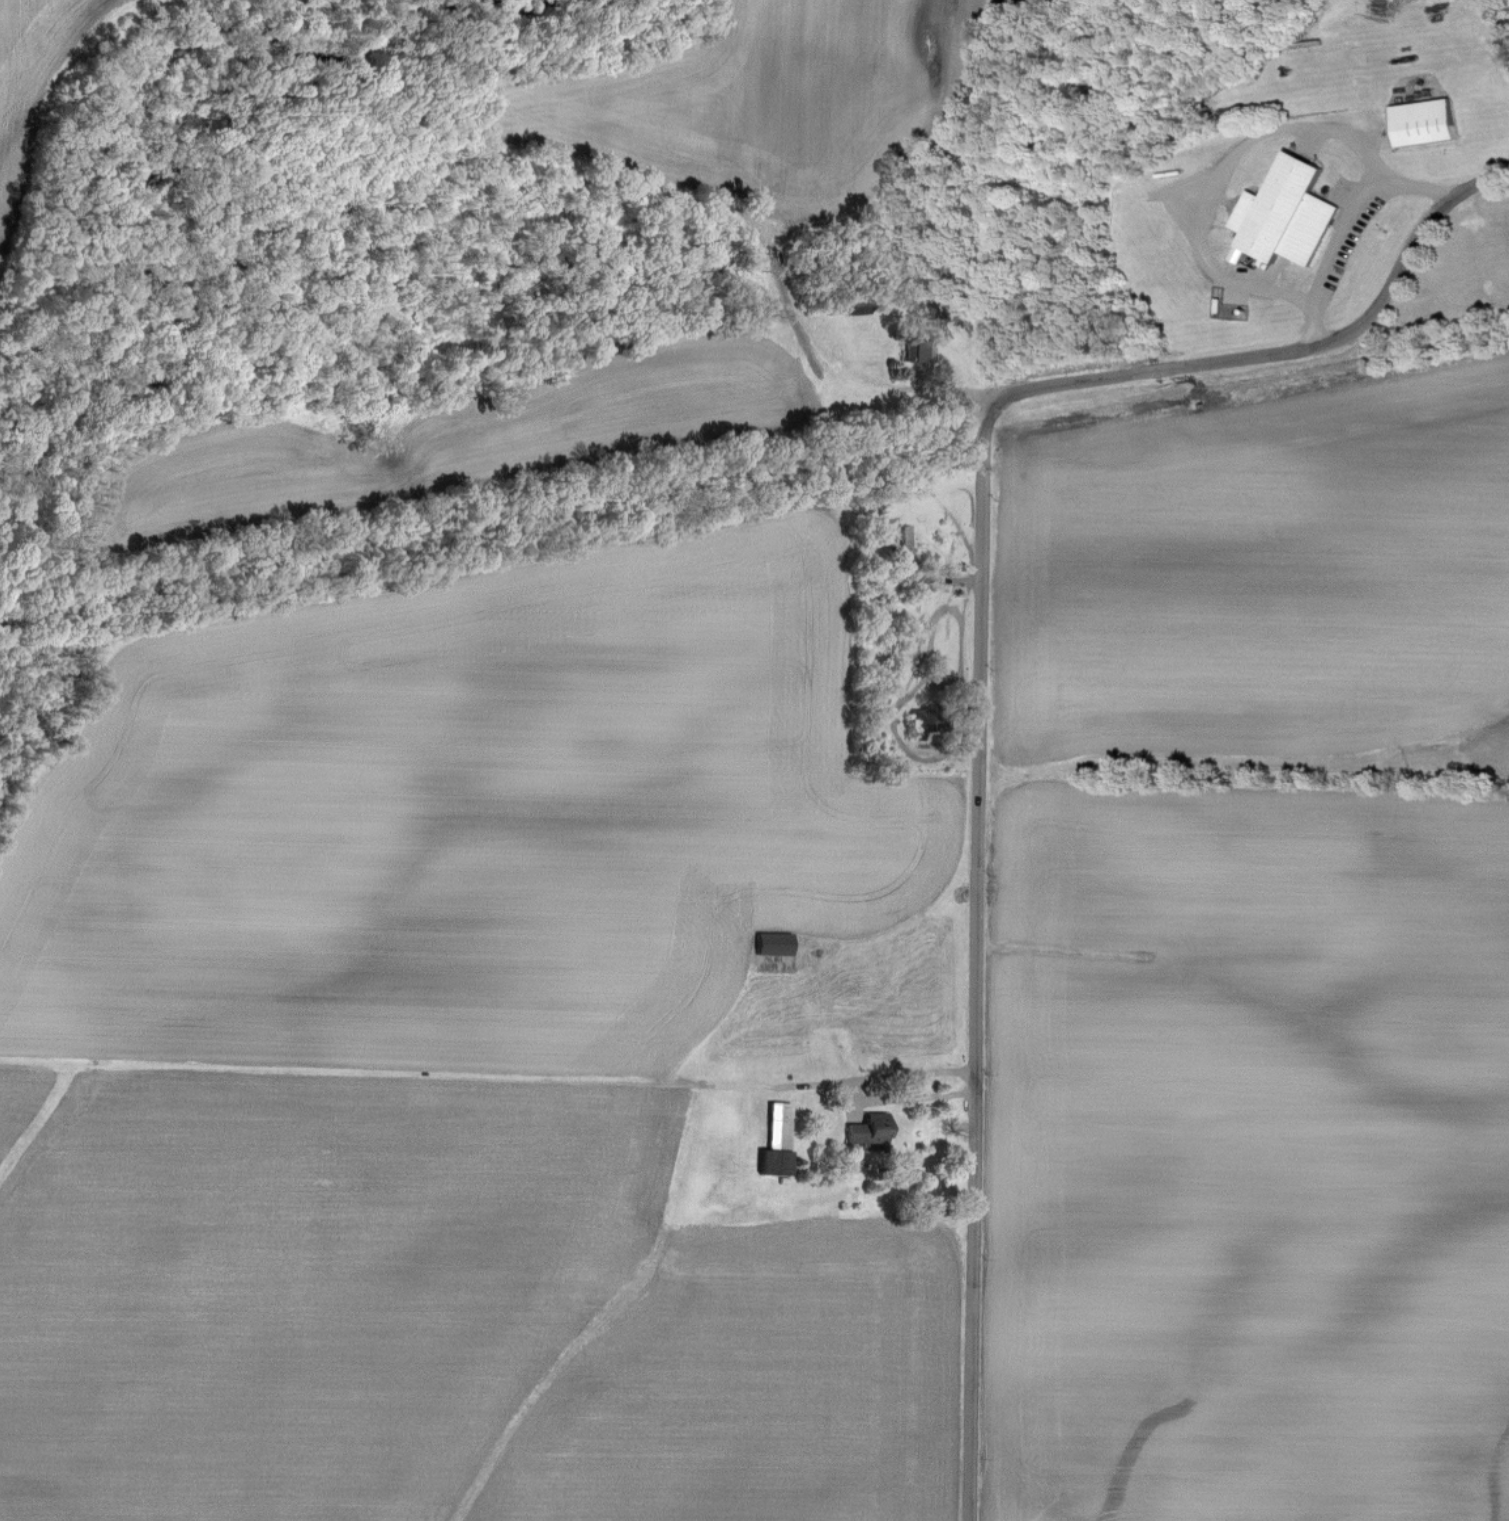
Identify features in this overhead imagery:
building: (1428, 123)
building: (1288, 215)
road: (1327, 218)
road: (1288, 353)
building: (906, 542)
building: (776, 944)
road: (975, 958)
building: (869, 1130)
building: (780, 1141)

